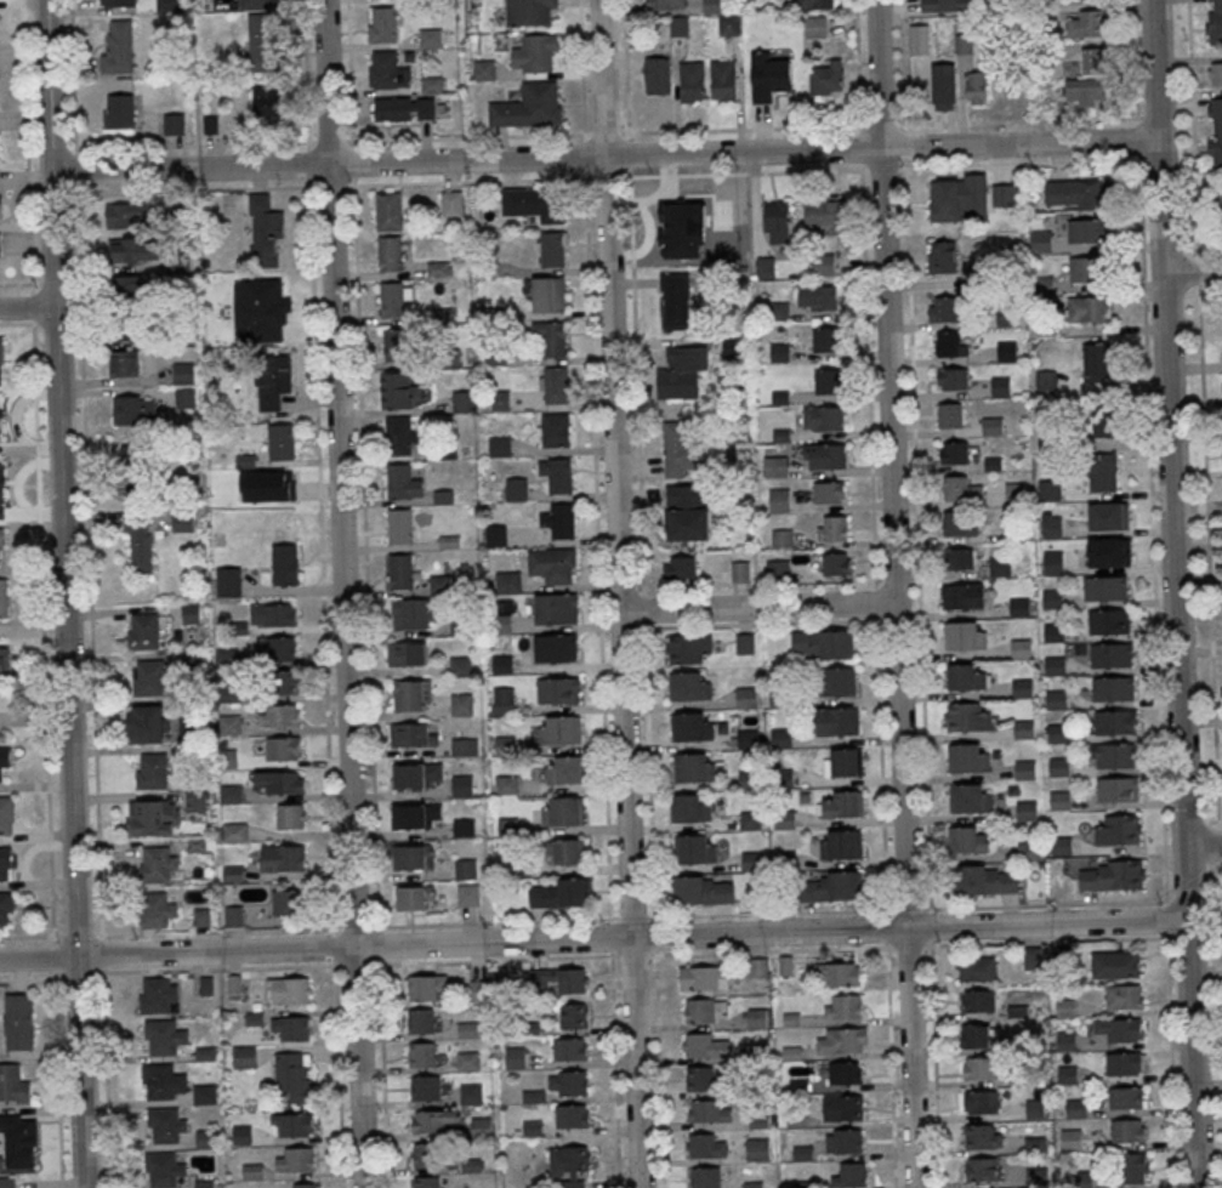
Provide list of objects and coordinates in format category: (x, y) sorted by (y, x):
building: (116, 2)
building: (258, 4)
building: (666, 4)
building: (814, 4)
building: (947, 5)
building: (532, 12)
building: (1214, 22)
building: (728, 23)
building: (1085, 23)
building: (381, 24)
building: (815, 25)
building: (430, 36)
building: (262, 41)
building: (118, 47)
building: (535, 53)
building: (1092, 59)
road: (1133, 61)
road: (857, 64)
road: (581, 66)
road: (627, 66)
road: (349, 69)
building: (484, 69)
building: (387, 70)
building: (1215, 73)
building: (657, 74)
building: (768, 75)
building: (828, 78)
building: (722, 79)
building: (690, 81)
building: (943, 86)
building: (976, 86)
road: (307, 92)
building: (1084, 92)
road: (73, 96)
building: (268, 101)
building: (529, 106)
building: (404, 108)
building: (119, 110)
road: (1149, 115)
road: (959, 121)
building: (174, 123)
road: (881, 124)
road: (903, 124)
road: (743, 129)
road: (1193, 129)
building: (1215, 131)
road: (604, 132)
road: (466, 135)
road: (1136, 138)
road: (25, 141)
road: (903, 146)
road: (859, 147)
road: (604, 157)
road: (1150, 160)
road: (352, 161)
road: (1021, 164)
road: (882, 167)
road: (739, 172)
road: (603, 178)
road: (352, 181)
road: (331, 184)
building: (1004, 194)
building: (1074, 194)
building: (957, 198)
building: (451, 203)
building: (535, 203)
building: (1220, 204)
building: (388, 210)
building: (127, 214)
building: (824, 214)
building: (778, 221)
building: (675, 222)
building: (1086, 229)
building: (266, 231)
building: (1041, 241)
building: (1, 244)
building: (553, 248)
building: (127, 249)
road: (1210, 249)
building: (390, 252)
building: (951, 256)
building: (824, 263)
building: (766, 267)
building: (1081, 268)
road: (1199, 272)
road: (1192, 273)
road: (39, 282)
building: (1044, 284)
building: (130, 286)
building: (549, 294)
road: (1210, 294)
building: (818, 296)
building: (394, 297)
building: (675, 300)
road: (27, 307)
building: (1089, 307)
building: (948, 308)
building: (273, 309)
building: (1006, 314)
building: (1045, 325)
building: (127, 328)
building: (552, 336)
building: (824, 340)
building: (396, 343)
building: (950, 343)
building: (1007, 351)
building: (1, 360)
building: (1097, 360)
building: (124, 363)
building: (682, 366)
building: (183, 373)
road: (866, 375)
building: (953, 377)
building: (272, 380)
road: (635, 380)
building: (828, 380)
building: (1046, 381)
building: (556, 386)
building: (1001, 387)
building: (398, 390)
building: (184, 398)
building: (462, 400)
building: (137, 410)
building: (949, 414)
building: (823, 417)
building: (0, 421)
building: (1099, 422)
building: (993, 425)
building: (555, 430)
building: (400, 434)
road: (360, 438)
building: (280, 439)
road: (318, 440)
building: (1051, 442)
building: (499, 445)
building: (678, 448)
building: (953, 451)
building: (824, 455)
building: (774, 466)
building: (1102, 471)
building: (557, 473)
building: (141, 476)
building: (403, 482)
building: (2, 485)
building: (516, 488)
building: (960, 489)
building: (1050, 490)
building: (828, 491)
building: (1016, 494)
building: (778, 499)
building: (686, 512)
building: (1109, 515)
building: (559, 519)
building: (959, 522)
road: (598, 524)
building: (399, 525)
building: (1052, 525)
road: (1150, 527)
building: (832, 528)
road: (916, 536)
building: (1, 546)
building: (1109, 551)
building: (141, 553)
building: (957, 557)
road: (1207, 557)
building: (1052, 559)
building: (836, 563)
road: (87, 564)
building: (285, 564)
building: (552, 564)
building: (716, 564)
building: (1000, 565)
building: (678, 567)
building: (399, 570)
building: (228, 581)
building: (507, 581)
building: (438, 584)
building: (1104, 587)
road: (63, 593)
road: (342, 593)
road: (619, 593)
road: (894, 593)
road: (1173, 593)
building: (964, 595)
building: (4, 598)
building: (1052, 598)
road: (874, 602)
building: (1021, 607)
road: (42, 608)
building: (555, 608)
road: (757, 608)
building: (273, 613)
building: (411, 613)
building: (1109, 621)
road: (761, 623)
building: (143, 630)
building: (1055, 632)
building: (966, 636)
building: (744, 643)
building: (822, 643)
building: (277, 647)
building: (555, 647)
building: (689, 648)
building: (1021, 648)
building: (407, 653)
building: (1110, 655)
building: (226, 656)
building: (4, 661)
building: (460, 665)
building: (1055, 665)
building: (152, 676)
building: (965, 676)
building: (285, 681)
building: (837, 681)
building: (689, 684)
building: (1023, 688)
building: (558, 689)
building: (1113, 689)
building: (231, 692)
building: (411, 695)
building: (745, 697)
building: (1056, 699)
building: (502, 700)
building: (461, 704)
building: (278, 715)
building: (967, 716)
building: (836, 721)
building: (1114, 722)
building: (148, 723)
building: (229, 724)
building: (692, 726)
building: (559, 729)
building: (1024, 729)
building: (1058, 733)
building: (404, 734)
building: (780, 738)
building: (746, 739)
building: (283, 748)
building: (1116, 755)
building: (967, 757)
building: (841, 762)
building: (2, 764)
road: (880, 764)
building: (1058, 766)
building: (693, 767)
building: (564, 769)
building: (1025, 769)
building: (152, 771)
road: (649, 773)
building: (419, 774)
building: (785, 778)
building: (749, 779)
building: (279, 781)
building: (506, 784)
building: (462, 785)
building: (1116, 789)
building: (970, 797)
building: (1061, 800)
building: (197, 801)
building: (841, 803)
building: (690, 807)
building: (563, 811)
building: (1027, 811)
building: (7, 815)
building: (291, 815)
building: (416, 815)
building: (152, 817)
road: (1164, 822)
road: (1184, 822)
road: (1210, 822)
building: (464, 828)
building: (1116, 829)
building: (234, 832)
building: (968, 839)
building: (840, 843)
road: (1218, 843)
road: (1201, 845)
building: (1062, 846)
building: (695, 848)
building: (564, 851)
building: (1028, 851)
building: (413, 856)
building: (283, 857)
building: (6, 862)
building: (158, 864)
road: (1187, 865)
road: (1212, 865)
road: (1166, 866)
building: (466, 869)
building: (233, 874)
building: (1110, 875)
building: (988, 879)
building: (831, 886)
building: (701, 889)
building: (558, 892)
building: (467, 894)
road: (1220, 896)
building: (414, 897)
building: (286, 900)
road: (1044, 905)
building: (6, 906)
building: (155, 909)
road: (905, 909)
road: (885, 911)
road: (769, 914)
building: (234, 915)
road: (631, 917)
road: (654, 919)
road: (1167, 919)
road: (609, 920)
road: (493, 921)
road: (356, 926)
road: (930, 926)
road: (886, 927)
road: (216, 931)
road: (29, 934)
road: (76, 934)
road: (654, 934)
road: (609, 936)
road: (52, 938)
road: (593, 939)
road: (1046, 940)
road: (377, 944)
road: (908, 944)
road: (334, 945)
road: (771, 949)
road: (101, 953)
road: (632, 954)
building: (1033, 956)
road: (52, 957)
road: (493, 959)
road: (334, 962)
road: (356, 964)
building: (1115, 964)
road: (220, 967)
building: (757, 967)
building: (976, 968)
road: (79, 973)
building: (842, 973)
building: (703, 977)
road: (29, 978)
building: (233, 980)
building: (558, 980)
building: (426, 987)
building: (479, 989)
building: (291, 990)
building: (159, 994)
building: (1124, 996)
building: (979, 1000)
building: (842, 1006)
building: (705, 1010)
building: (573, 1014)
building: (756, 1017)
building: (18, 1021)
building: (421, 1021)
building: (290, 1028)
building: (468, 1028)
building: (1120, 1029)
building: (979, 1035)
building: (165, 1036)
building: (842, 1040)
building: (706, 1045)
building: (569, 1048)
building: (421, 1053)
building: (245, 1056)
building: (515, 1058)
building: (467, 1061)
building: (1126, 1062)
road: (1170, 1062)
road: (889, 1064)
road: (934, 1064)
building: (981, 1068)
road: (614, 1069)
road: (658, 1069)
building: (845, 1072)
road: (382, 1074)
building: (294, 1075)
road: (337, 1076)
road: (104, 1078)
building: (699, 1078)
road: (56, 1080)
building: (163, 1080)
building: (568, 1082)
building: (13, 1084)
building: (426, 1087)
building: (205, 1092)
building: (471, 1093)
building: (1126, 1097)
building: (978, 1101)
building: (842, 1107)
building: (1035, 1108)
building: (709, 1109)
building: (572, 1115)
building: (433, 1119)
building: (166, 1124)
building: (291, 1124)
building: (481, 1125)
building: (1127, 1130)
building: (983, 1136)
building: (205, 1138)
building: (1072, 1138)
building: (18, 1139)
building: (843, 1141)
building: (704, 1146)
building: (757, 1149)
building: (802, 1153)
building: (425, 1154)
building: (295, 1159)
building: (575, 1165)
building: (1135, 1167)
building: (164, 1169)
building: (983, 1169)
building: (849, 1175)
building: (704, 1177)
building: (7, 1182)
building: (427, 1182)
building: (305, 1186)

